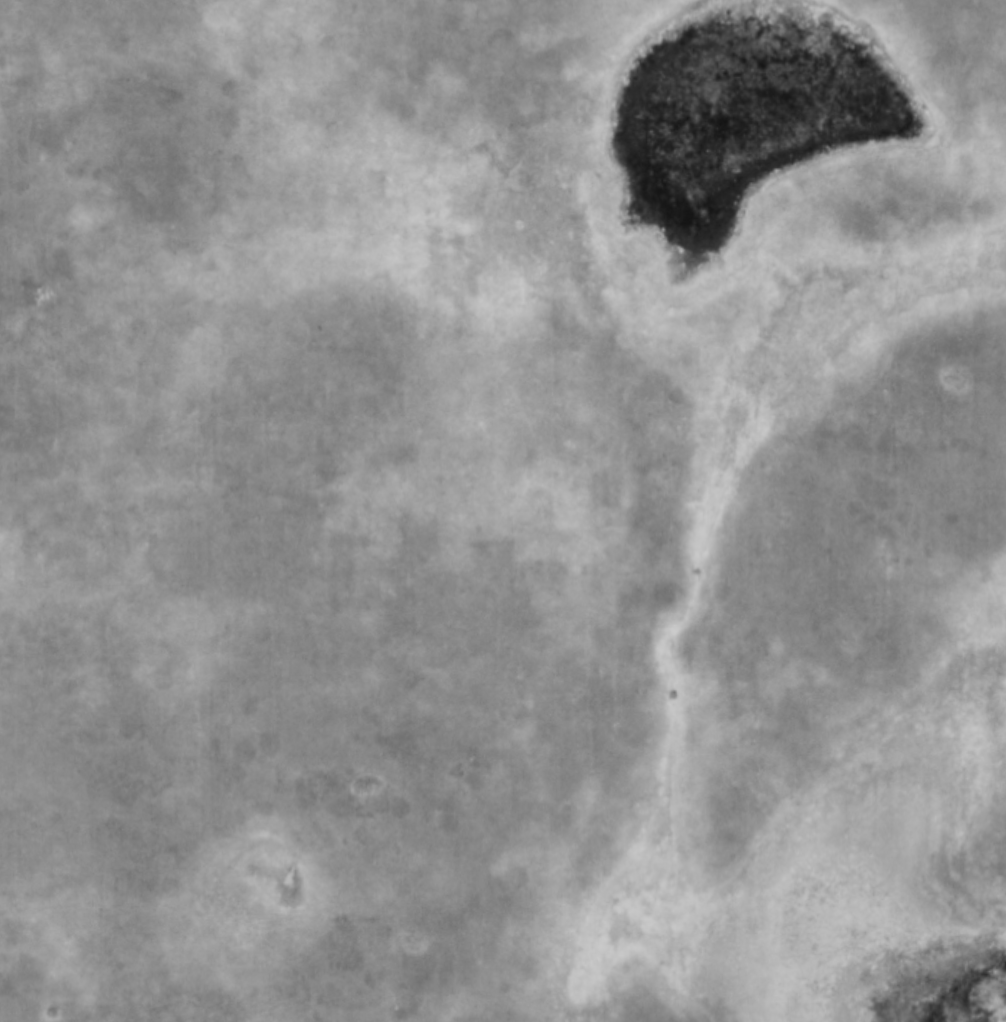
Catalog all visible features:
road: (15, 995)

